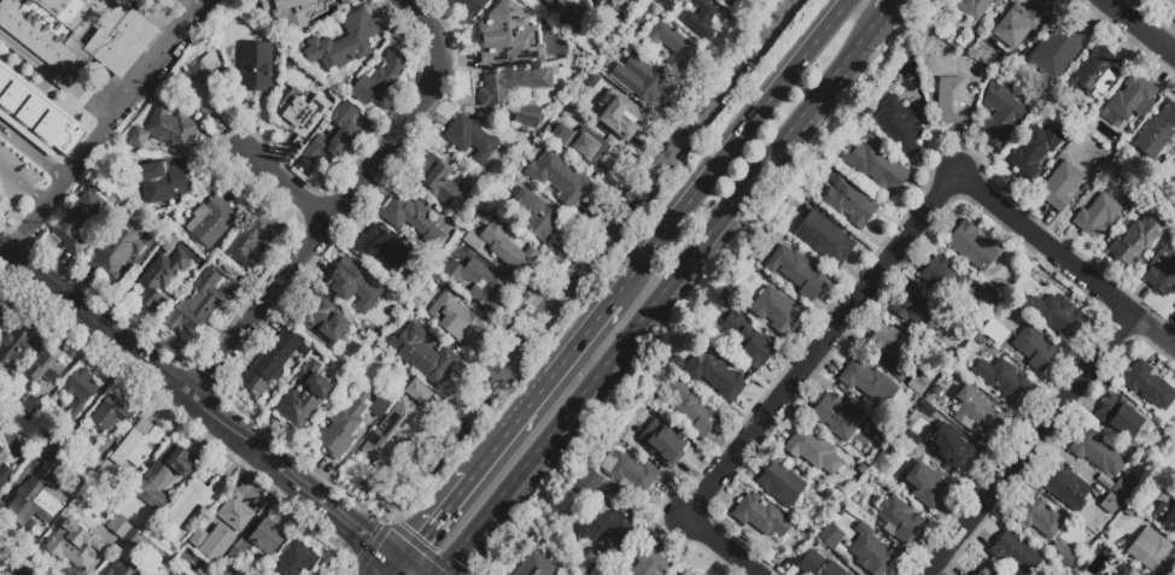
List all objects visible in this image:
building: (548, 0)
building: (182, 1)
building: (735, 1)
building: (1167, 1)
building: (1173, 1)
building: (508, 2)
road: (888, 6)
building: (612, 7)
building: (976, 7)
building: (327, 8)
building: (467, 8)
building: (567, 11)
building: (286, 12)
building: (696, 14)
building: (1016, 27)
road: (1139, 28)
building: (46, 36)
building: (121, 40)
building: (504, 40)
building: (344, 42)
building: (670, 45)
building: (1058, 49)
road: (154, 65)
building: (257, 66)
building: (1098, 71)
building: (380, 78)
building: (639, 80)
building: (5, 81)
building: (205, 83)
building: (511, 86)
building: (136, 94)
building: (13, 98)
building: (952, 101)
building: (1129, 101)
building: (305, 111)
building: (31, 113)
road: (414, 113)
building: (619, 115)
building: (1001, 115)
building: (528, 116)
building: (900, 125)
building: (51, 128)
building: (165, 130)
building: (1157, 133)
building: (334, 134)
building: (472, 140)
building: (69, 141)
road: (731, 149)
road: (34, 152)
building: (585, 152)
building: (1034, 152)
building: (876, 165)
road: (76, 168)
building: (559, 177)
building: (440, 184)
building: (163, 186)
road: (287, 186)
building: (1060, 186)
road: (23, 187)
building: (1174, 198)
building: (854, 204)
building: (1098, 216)
building: (536, 217)
building: (413, 219)
building: (210, 221)
building: (76, 222)
road: (618, 222)
road: (28, 229)
building: (1138, 237)
building: (252, 240)
building: (824, 240)
building: (472, 241)
building: (971, 246)
building: (507, 248)
road: (697, 248)
road: (5, 250)
building: (116, 250)
building: (384, 250)
road: (55, 269)
road: (879, 270)
building: (1162, 271)
building: (797, 272)
road: (10, 274)
building: (943, 276)
building: (159, 280)
building: (470, 280)
building: (352, 286)
road: (78, 287)
building: (197, 303)
road: (261, 307)
building: (918, 310)
building: (2, 311)
road: (51, 311)
building: (776, 311)
building: (1057, 315)
building: (455, 318)
building: (323, 321)
road: (101, 323)
road: (99, 325)
building: (995, 331)
building: (747, 341)
building: (18, 342)
building: (888, 344)
building: (1034, 348)
building: (422, 354)
building: (270, 364)
building: (46, 365)
building: (721, 377)
road: (548, 381)
building: (1004, 381)
building: (870, 383)
building: (918, 386)
building: (1148, 386)
road: (105, 388)
road: (145, 389)
building: (78, 392)
building: (417, 393)
building: (304, 397)
road: (163, 404)
building: (694, 410)
building: (976, 413)
building: (30, 416)
building: (109, 416)
building: (836, 417)
building: (1118, 417)
building: (347, 423)
road: (233, 432)
building: (391, 432)
building: (879, 433)
road: (267, 434)
road: (206, 438)
building: (138, 444)
building: (662, 445)
building: (0, 446)
building: (877, 446)
road: (1031, 446)
building: (1, 450)
building: (953, 451)
building: (814, 452)
building: (1097, 452)
road: (239, 460)
road: (434, 460)
building: (93, 468)
building: (875, 468)
building: (861, 469)
building: (5, 473)
road: (475, 473)
building: (629, 473)
road: (288, 475)
building: (162, 476)
road: (317, 476)
building: (587, 480)
building: (781, 483)
building: (925, 485)
building: (1123, 485)
building: (1065, 486)
road: (232, 488)
building: (37, 493)
building: (194, 498)
road: (403, 499)
building: (1111, 504)
road: (264, 511)
building: (234, 512)
building: (1165, 515)
building: (759, 518)
building: (898, 518)
building: (1040, 518)
road: (433, 526)
building: (608, 526)
building: (118, 527)
road: (350, 527)
road: (475, 528)
building: (198, 538)
building: (267, 538)
traffic signals: (423, 539)
building: (832, 540)
traffic signals: (367, 541)
building: (74, 544)
building: (144, 546)
road: (372, 547)
road: (335, 552)
building: (871, 552)
building: (1151, 552)
building: (1016, 553)
building: (1063, 553)
building: (234, 556)
building: (296, 559)
building: (811, 562)
building: (650, 563)
road: (6, 569)
building: (127, 569)
building: (530, 569)
building: (834, 569)
building: (1121, 570)
road: (397, 571)
road: (404, 571)
building: (180, 573)
road: (356, 573)
building: (688, 573)
building: (978, 573)
building: (216, 574)
building: (250, 574)
building: (562, 574)

